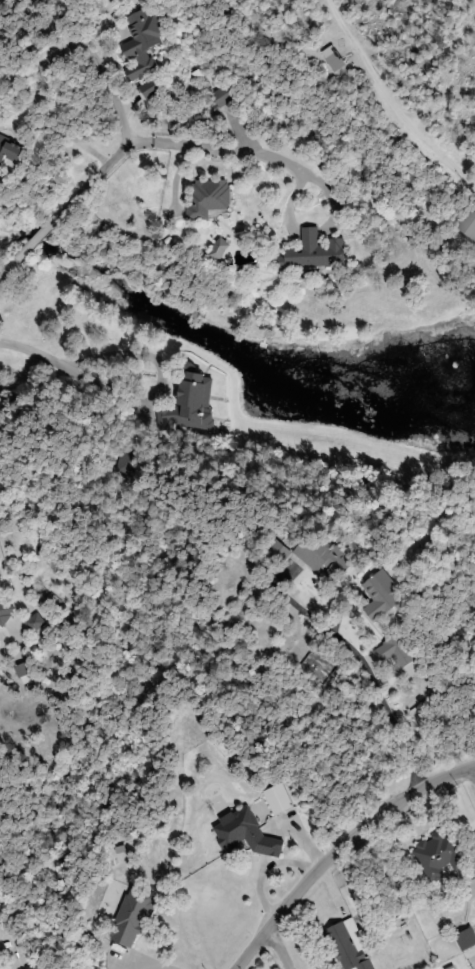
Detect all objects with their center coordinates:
building: (142, 40)
building: (151, 87)
building: (220, 96)
building: (10, 149)
building: (207, 197)
building: (467, 224)
building: (313, 252)
road: (23, 349)
road: (52, 364)
building: (190, 403)
building: (317, 553)
building: (380, 595)
building: (6, 609)
building: (36, 622)
road: (6, 637)
building: (395, 651)
building: (24, 669)
road: (430, 727)
building: (277, 799)
building: (244, 834)
road: (334, 841)
building: (440, 853)
building: (132, 916)
building: (349, 945)
road: (287, 950)

